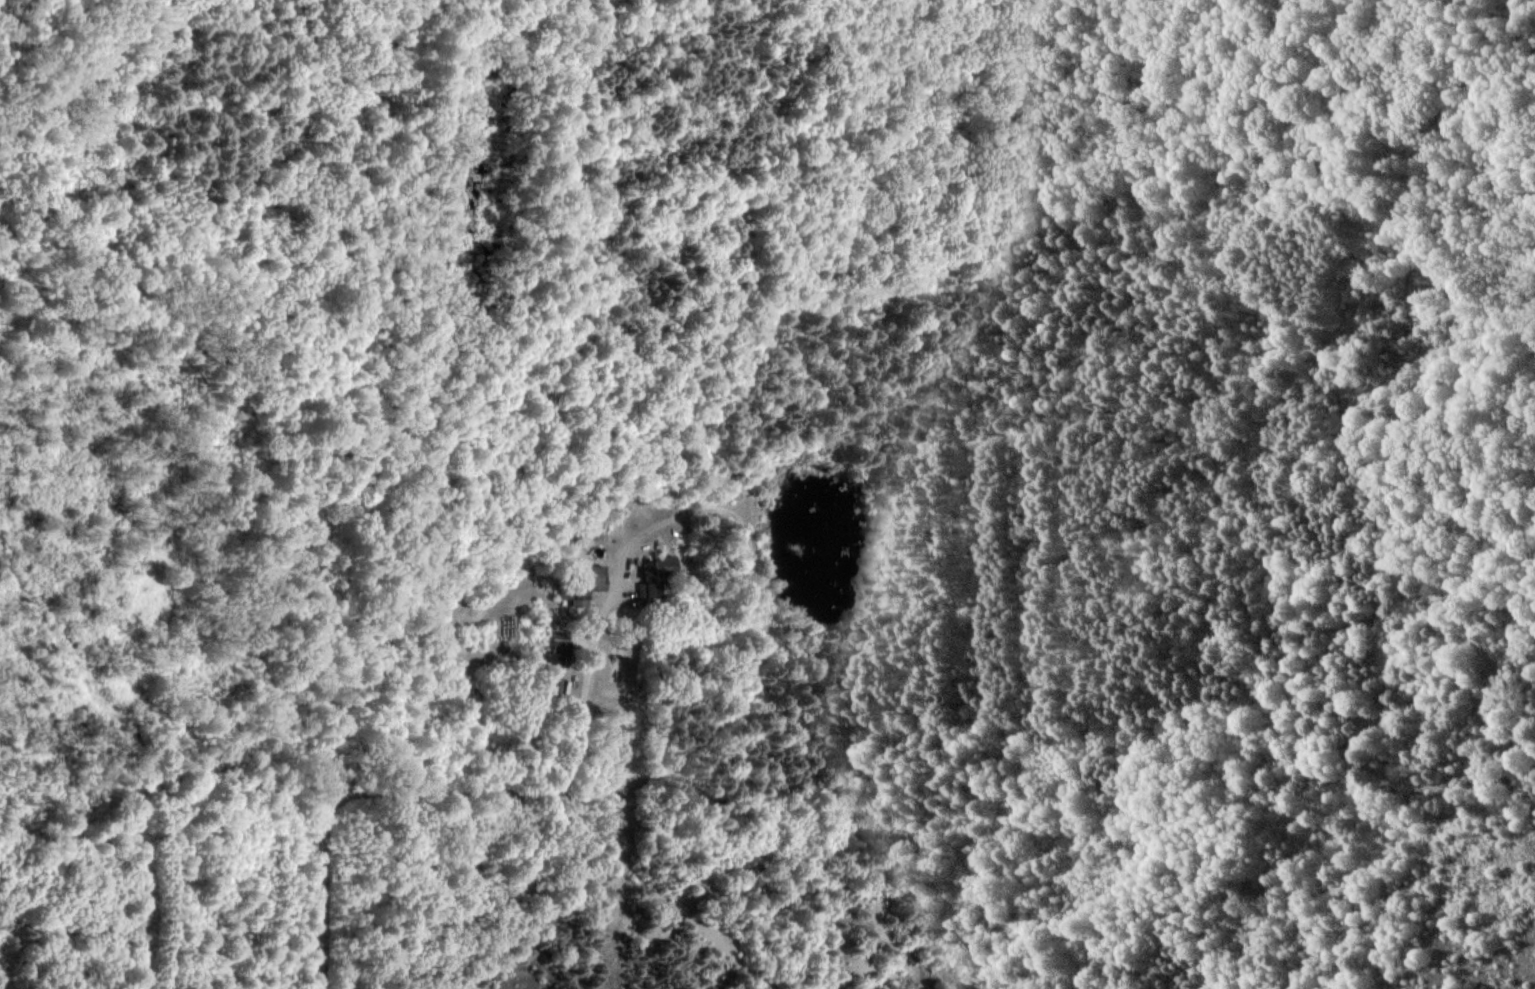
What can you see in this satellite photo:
road: (744, 524)
building: (654, 575)
building: (593, 576)
building: (558, 646)
road: (350, 793)

